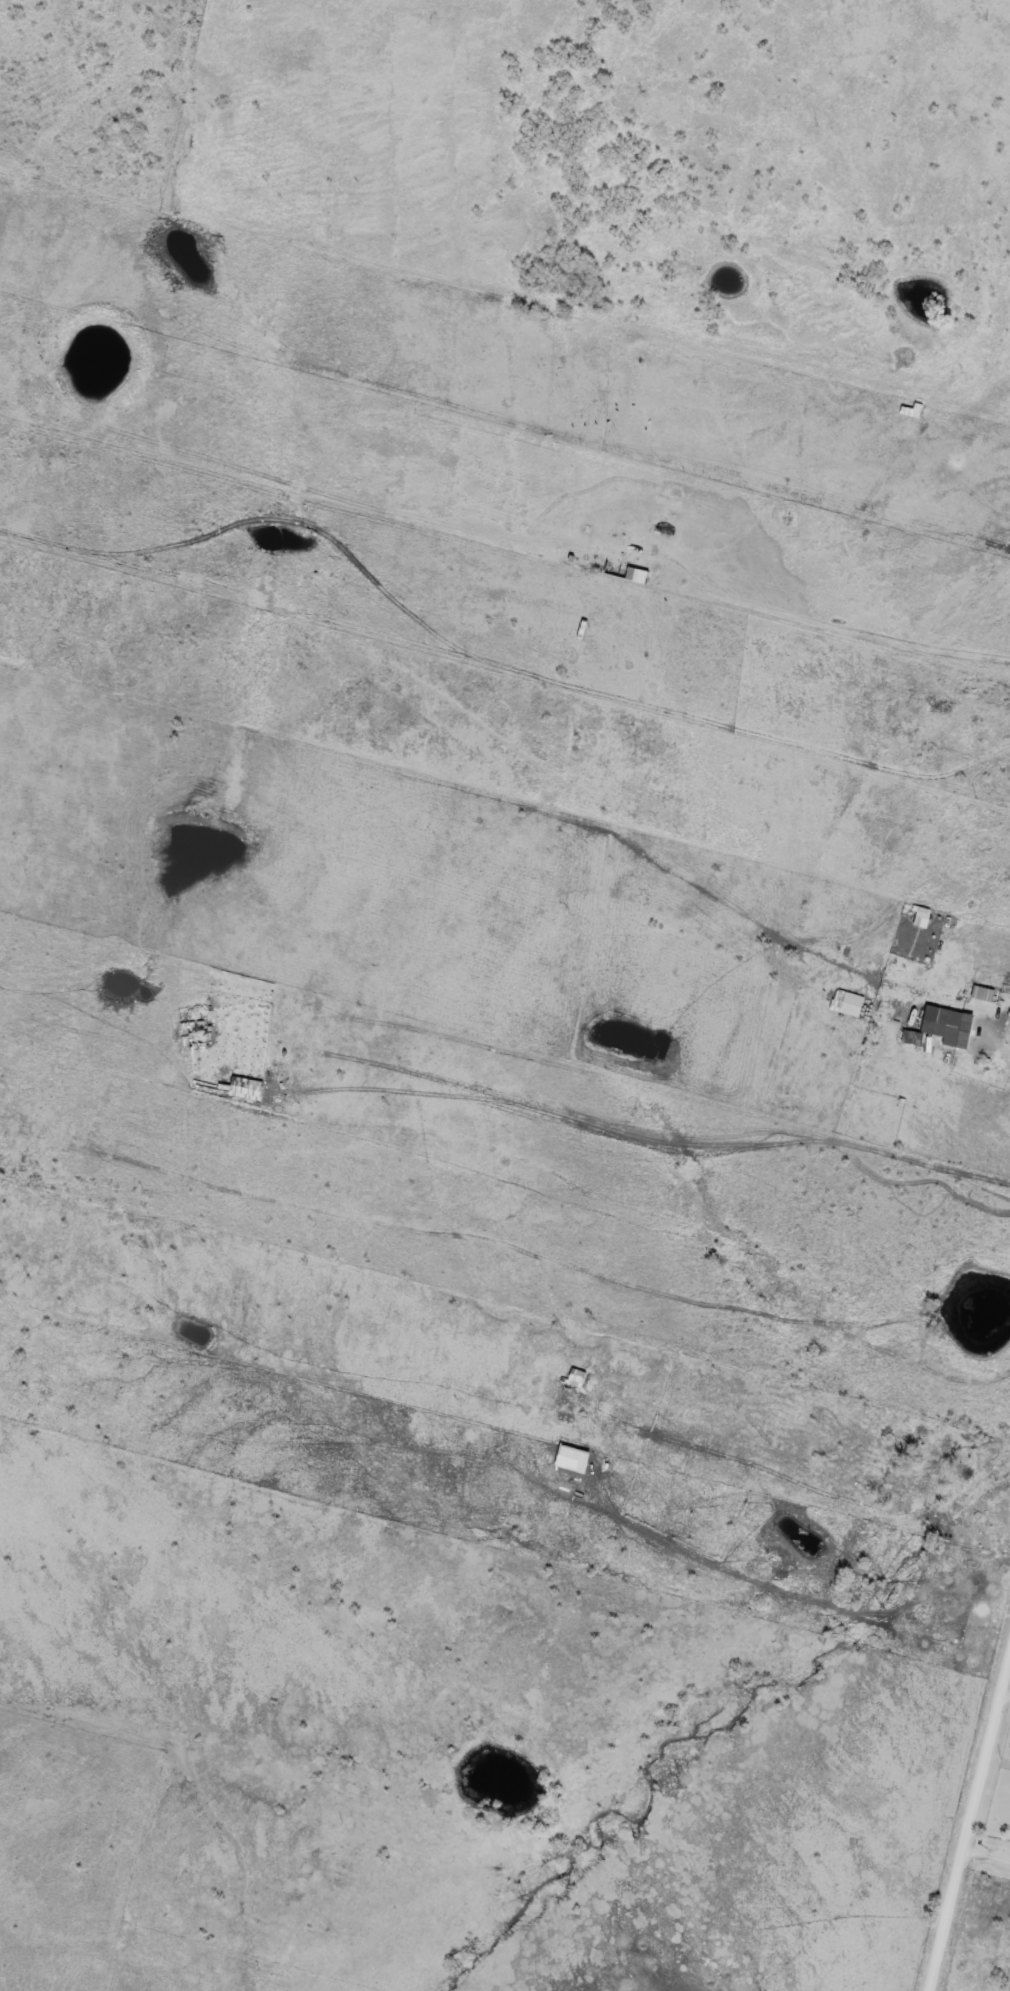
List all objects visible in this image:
road: (1000, 1052)
road: (966, 1820)
road: (984, 1854)

